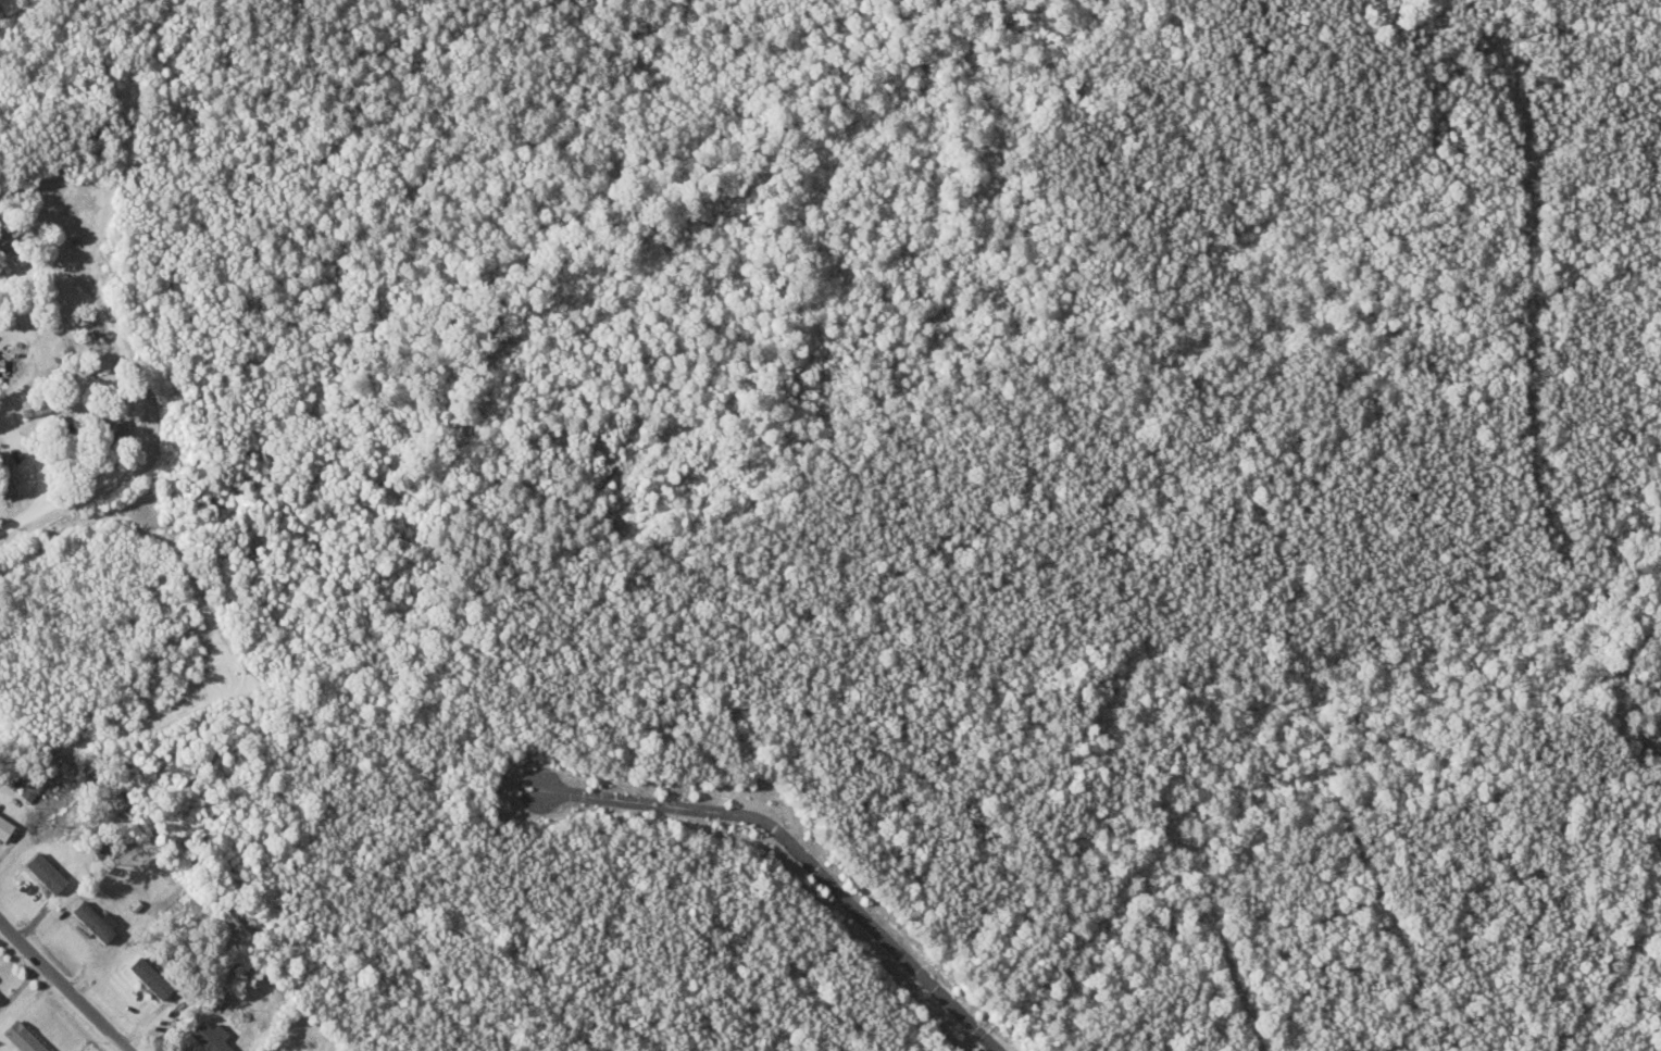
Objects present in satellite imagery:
road: (133, 138)
building: (4, 234)
road: (71, 285)
building: (110, 429)
road: (152, 455)
road: (52, 472)
building: (7, 478)
road: (221, 626)
building: (4, 827)
road: (803, 853)
building: (45, 872)
building: (93, 919)
building: (149, 976)
road: (63, 989)
building: (22, 1037)
building: (208, 1037)

